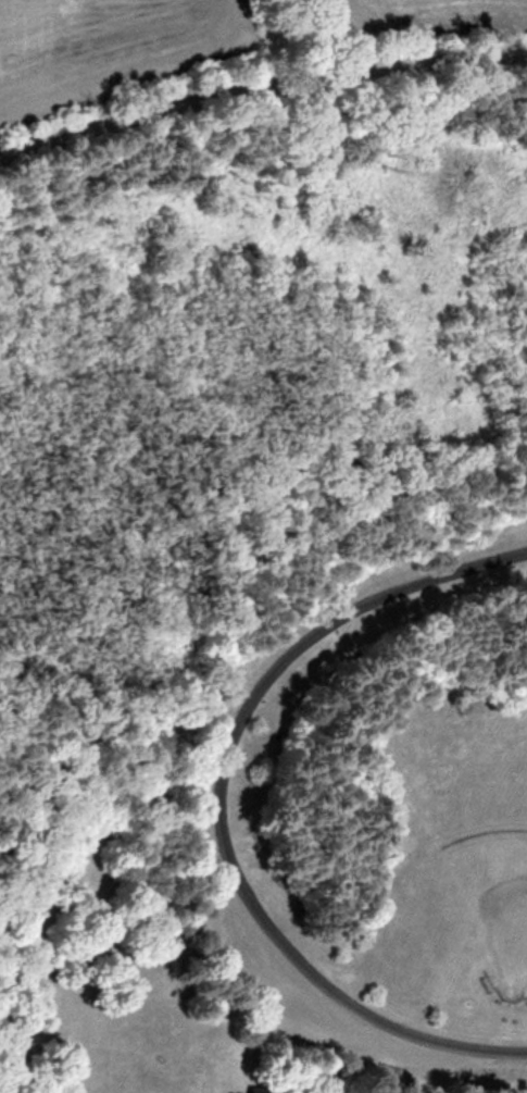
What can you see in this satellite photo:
road: (261, 84)
park: (267, 600)
road: (216, 806)
park: (505, 920)
building: (264, 1092)

